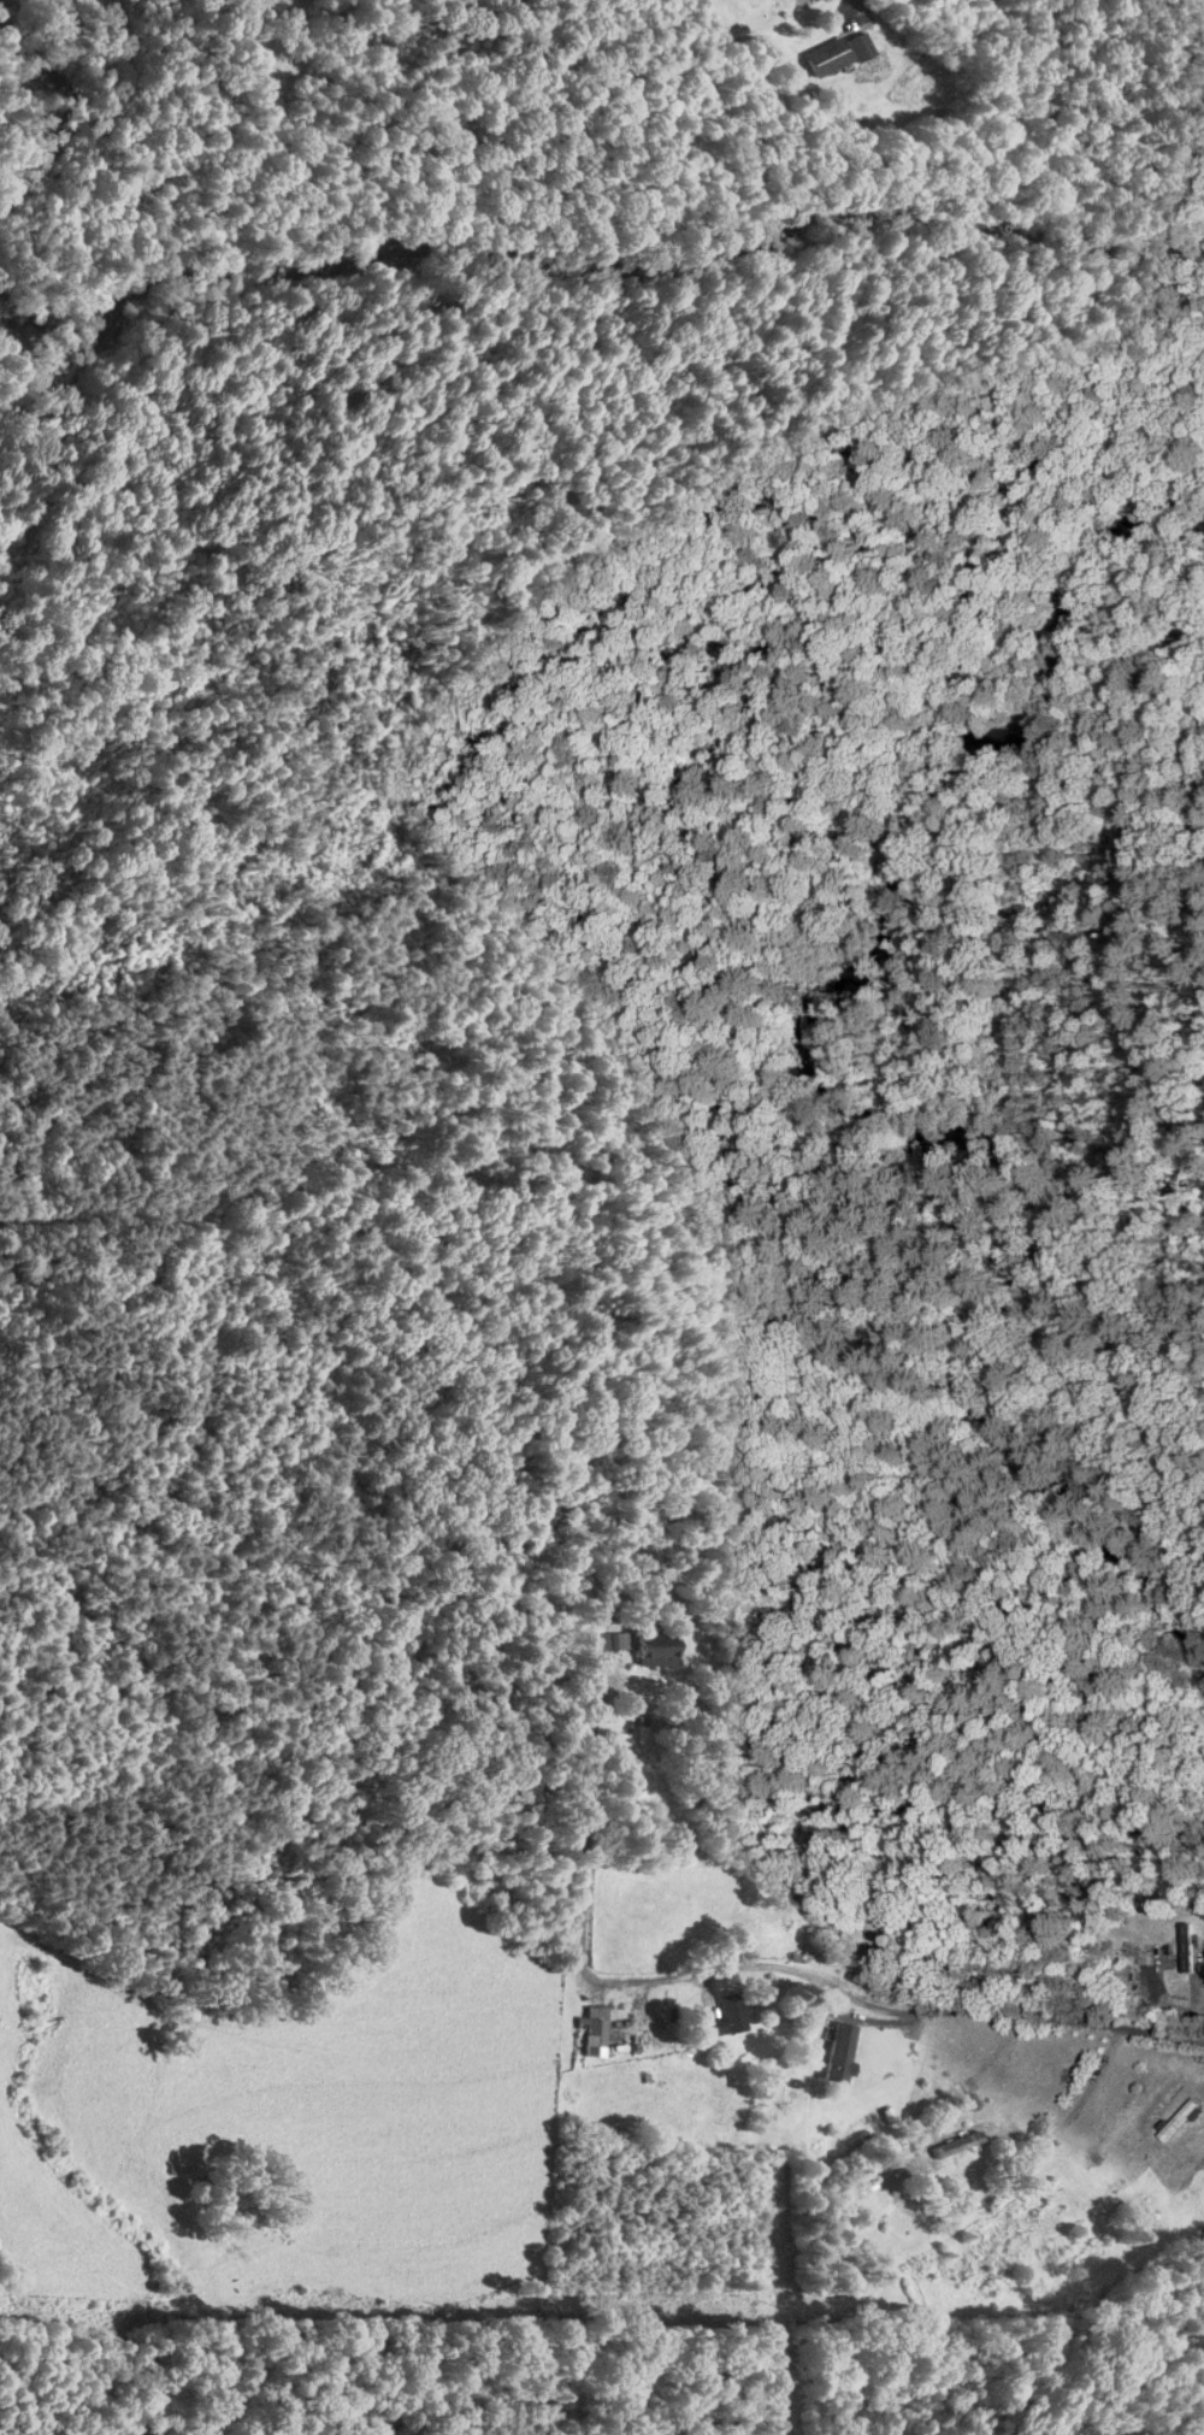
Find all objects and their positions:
building: (831, 53)
river: (73, 112)
river: (632, 247)
river: (31, 344)
river: (878, 1087)
building: (656, 1651)
road: (585, 1833)
building: (1182, 1947)
building: (814, 1957)
building: (1117, 1976)
road: (905, 2011)
building: (727, 2016)
building: (590, 2033)
building: (1194, 2073)
building: (1174, 2119)
building: (939, 2152)
road: (988, 2181)

